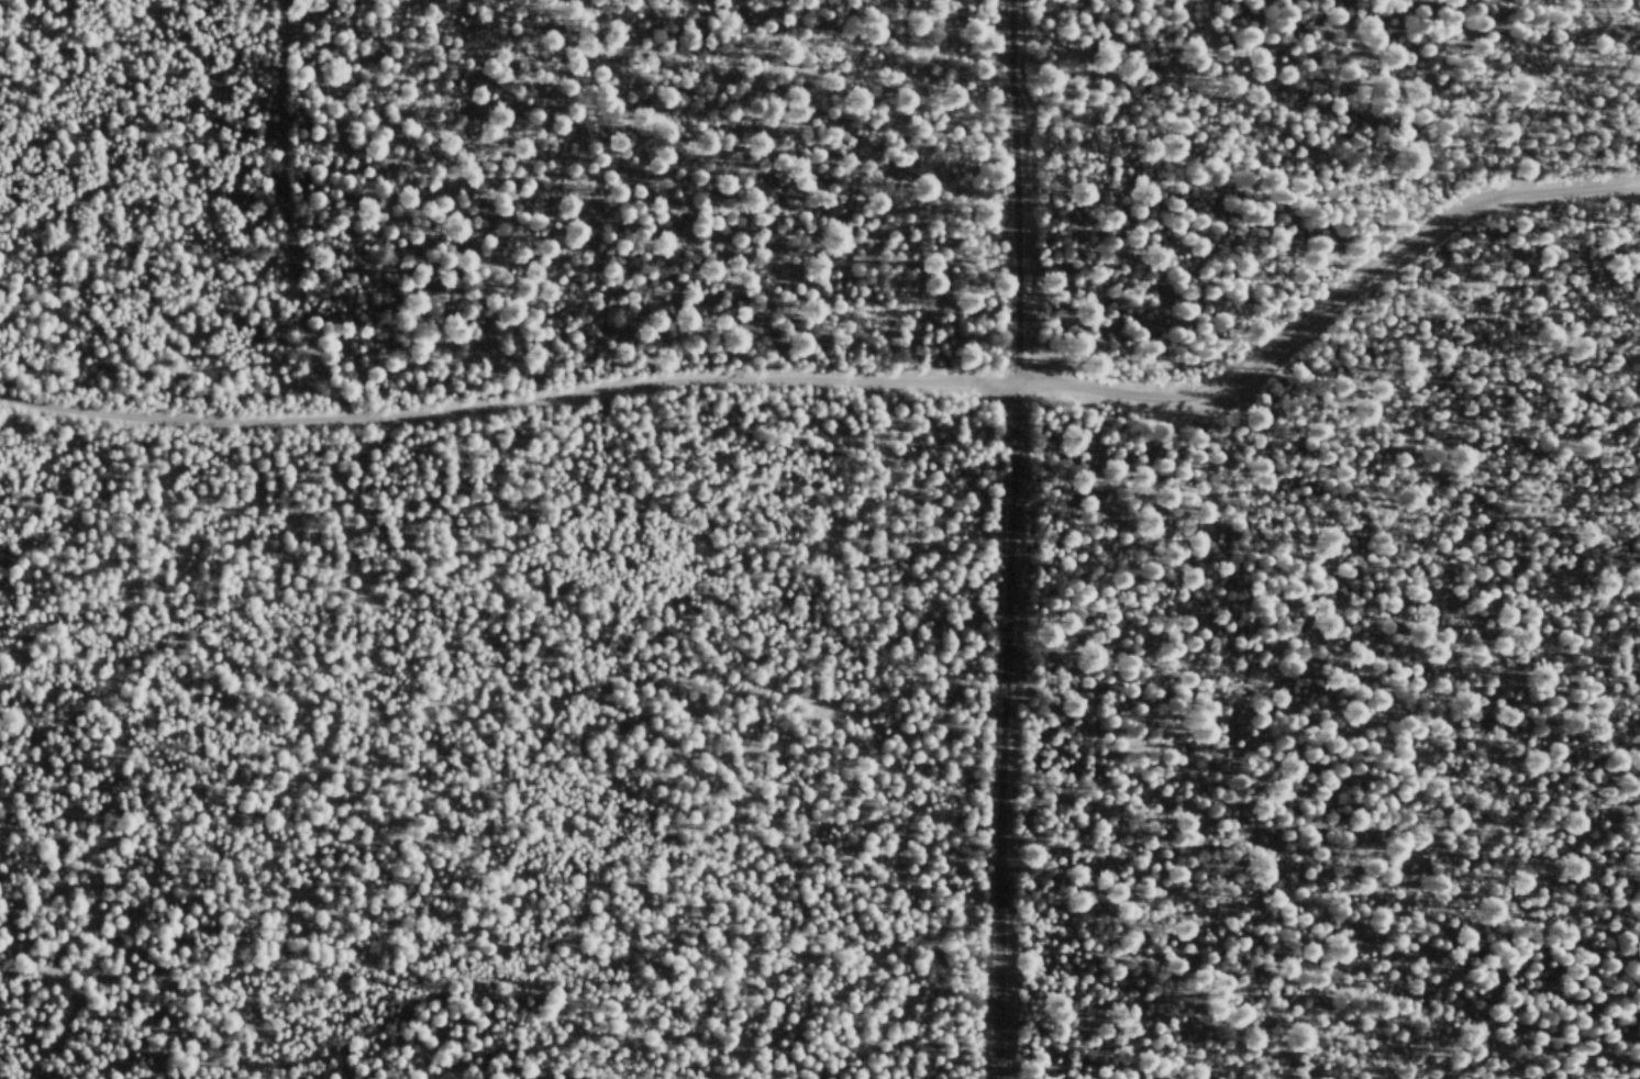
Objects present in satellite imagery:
road: (1410, 251)

